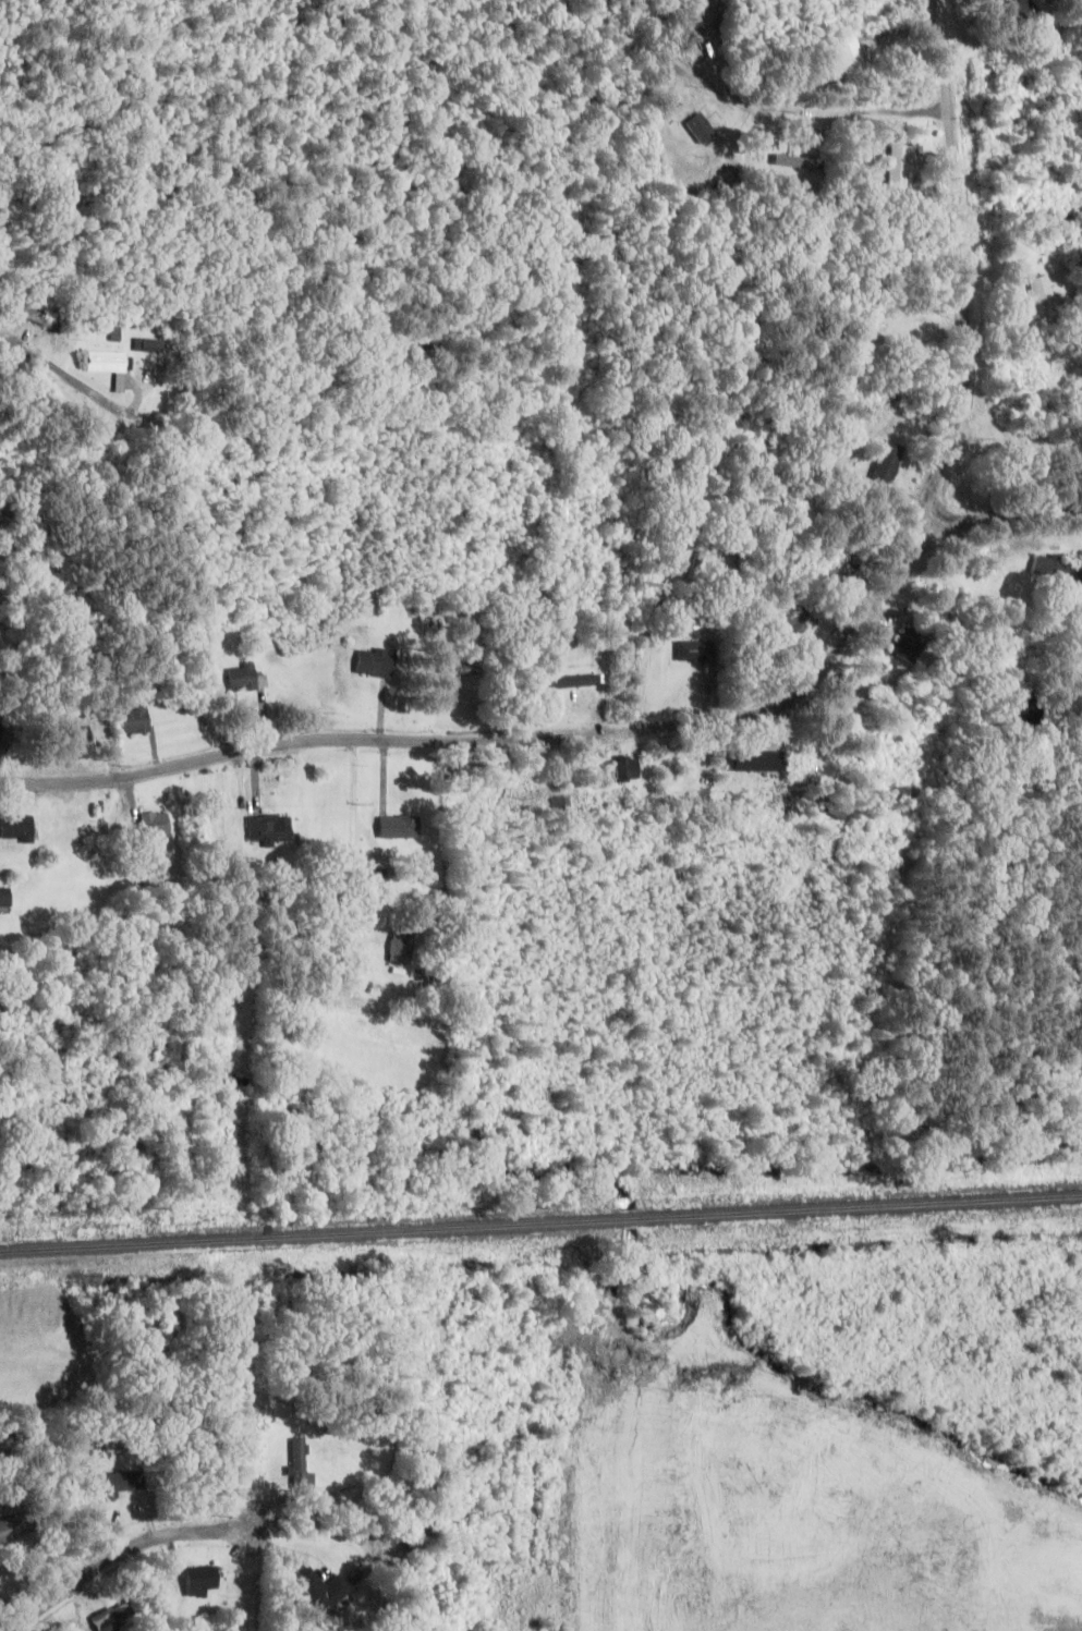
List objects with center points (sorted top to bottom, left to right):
building: (1024, 12)
building: (850, 57)
building: (681, 66)
road: (685, 71)
road: (819, 118)
building: (798, 162)
building: (899, 168)
road: (960, 263)
building: (1038, 295)
building: (31, 316)
building: (146, 346)
building: (108, 367)
building: (1029, 376)
road: (85, 393)
building: (885, 464)
building: (1055, 568)
building: (838, 572)
road: (858, 619)
building: (789, 623)
building: (908, 644)
building: (693, 652)
building: (374, 664)
building: (245, 679)
building: (568, 682)
building: (133, 720)
road: (592, 737)
building: (71, 740)
road: (276, 743)
building: (749, 760)
building: (625, 768)
building: (153, 824)
building: (398, 827)
building: (15, 828)
building: (268, 829)
building: (376, 877)
building: (4, 898)
building: (399, 948)
railway: (540, 1224)
building: (295, 1463)
building: (119, 1482)
building: (10, 1530)
road: (118, 1555)
building: (199, 1581)
building: (306, 1589)
building: (112, 1618)

